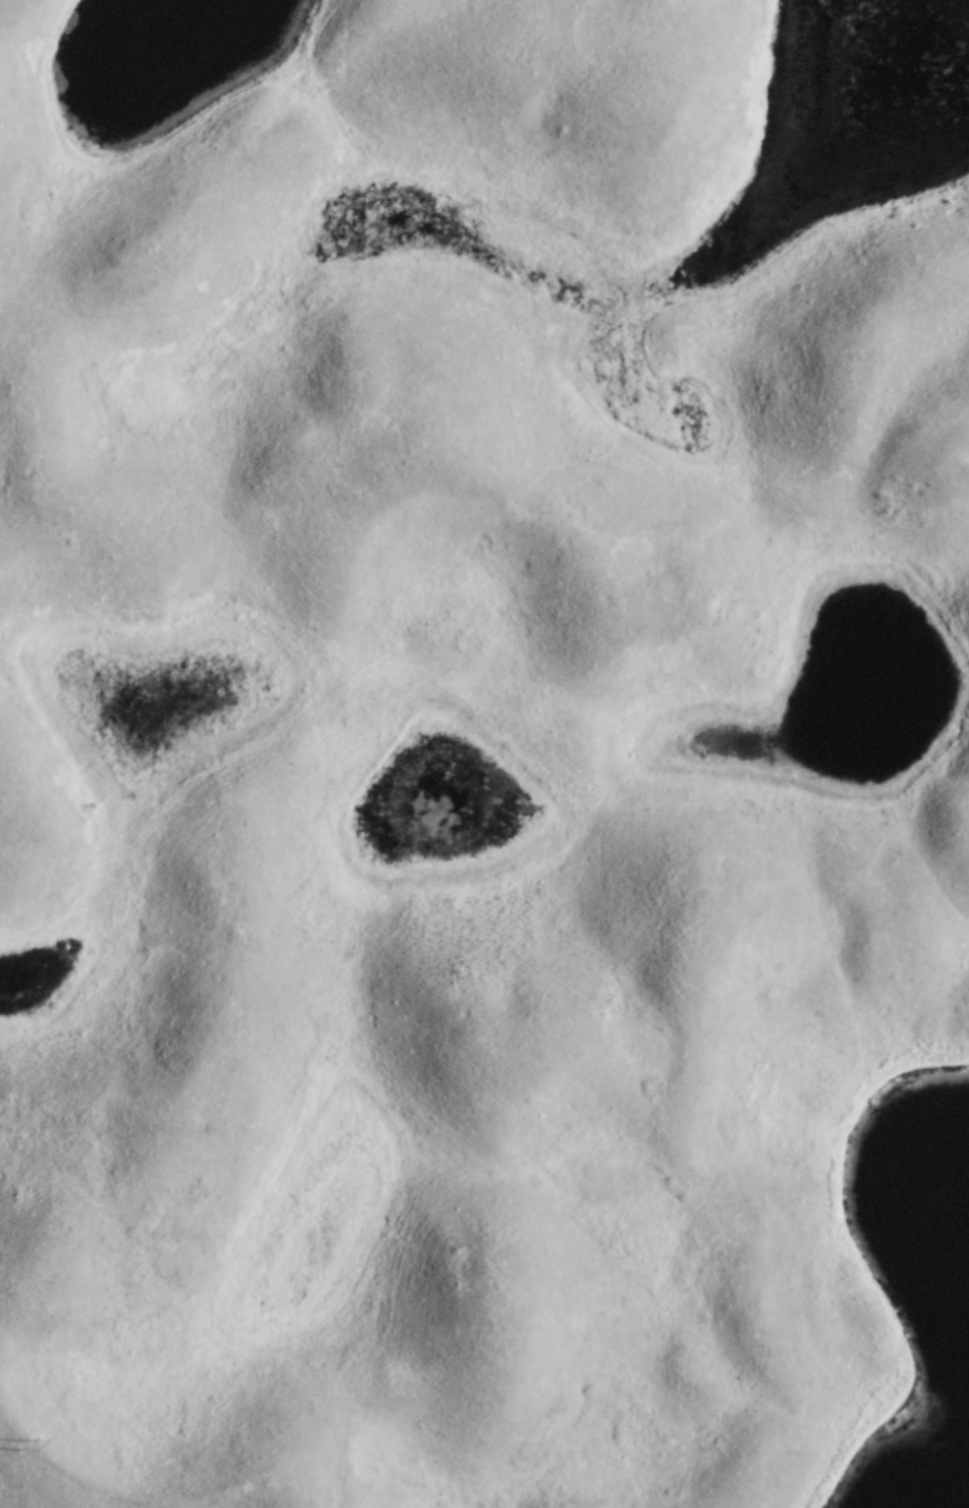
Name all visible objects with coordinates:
power tower: (25, 1443)

